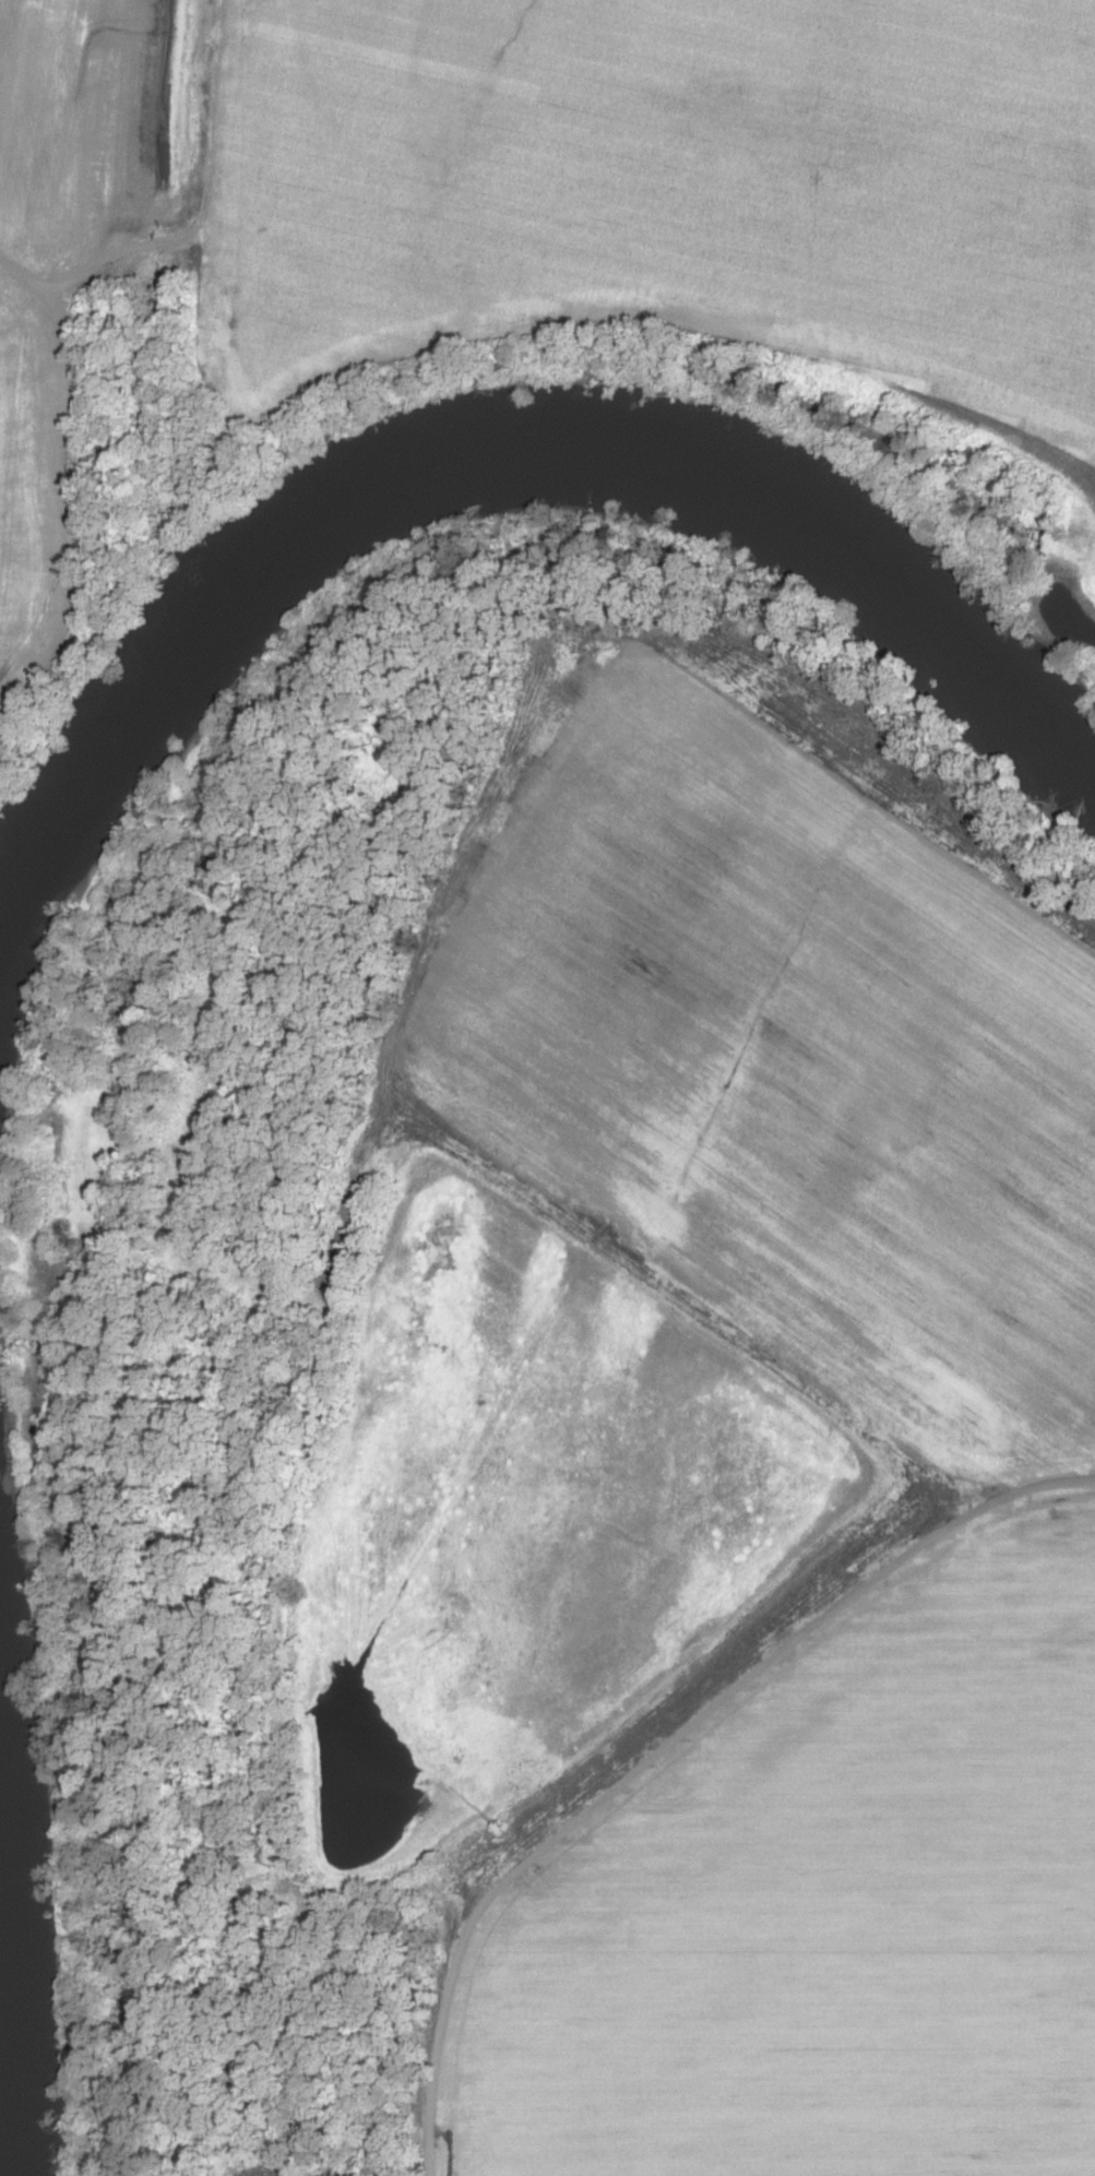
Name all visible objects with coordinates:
road: (11, 44)
road: (522, 324)
river: (455, 463)
road: (186, 495)
road: (665, 1747)
river: (14, 2008)

